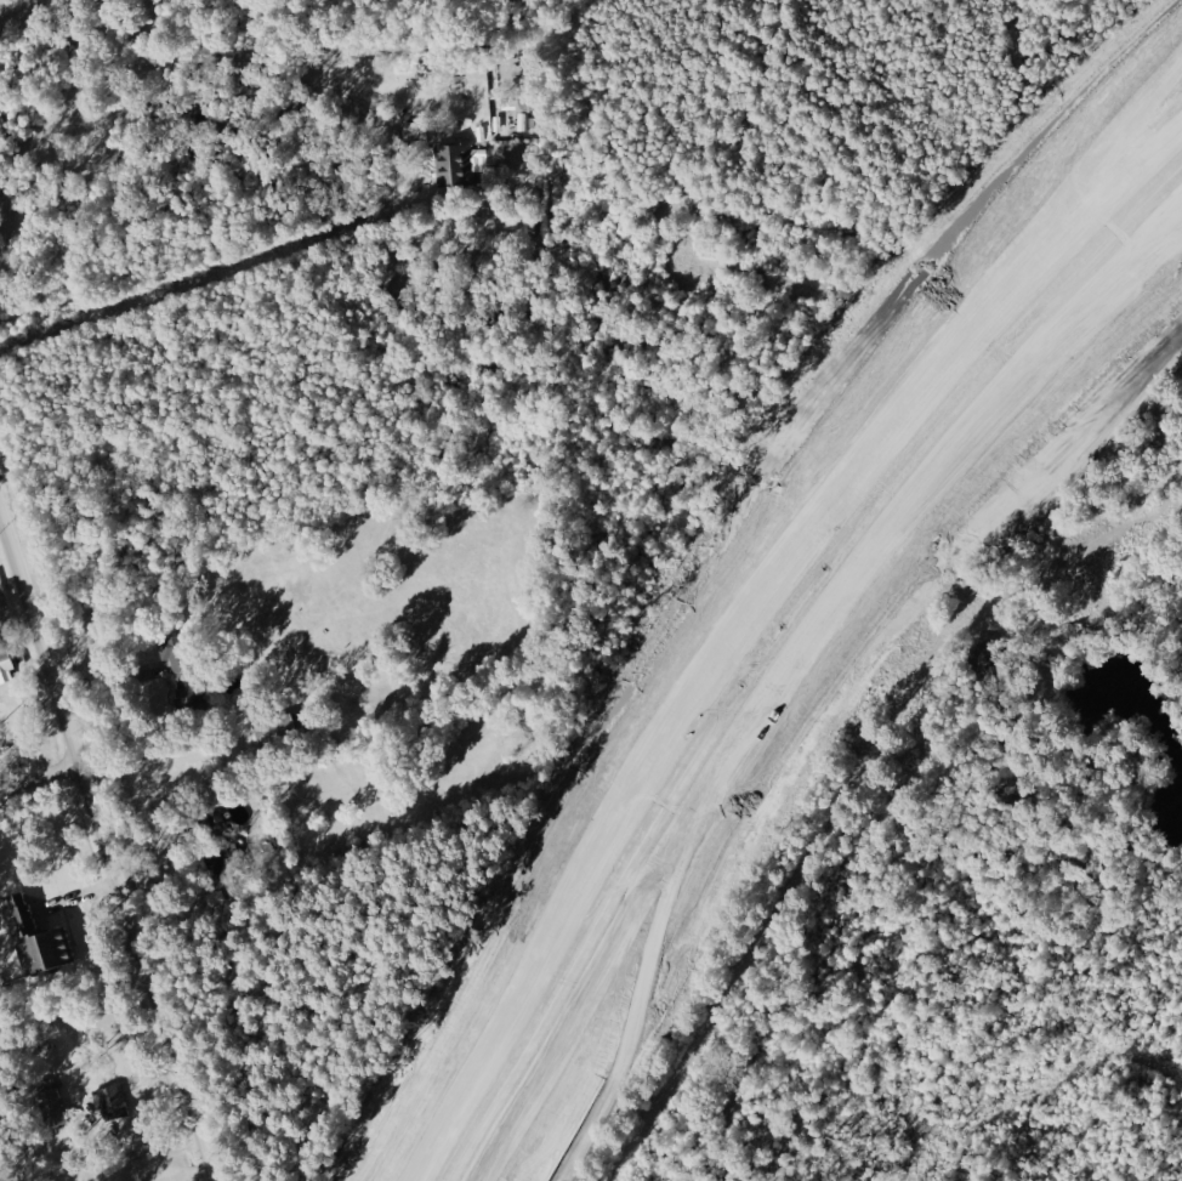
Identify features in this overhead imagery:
road: (157, 72)
road: (1000, 294)
road: (1030, 396)
road: (0, 519)
road: (758, 624)
building: (182, 663)
building: (8, 666)
road: (797, 670)
building: (283, 731)
road: (39, 779)
road: (104, 848)
building: (47, 939)
building: (115, 1102)

